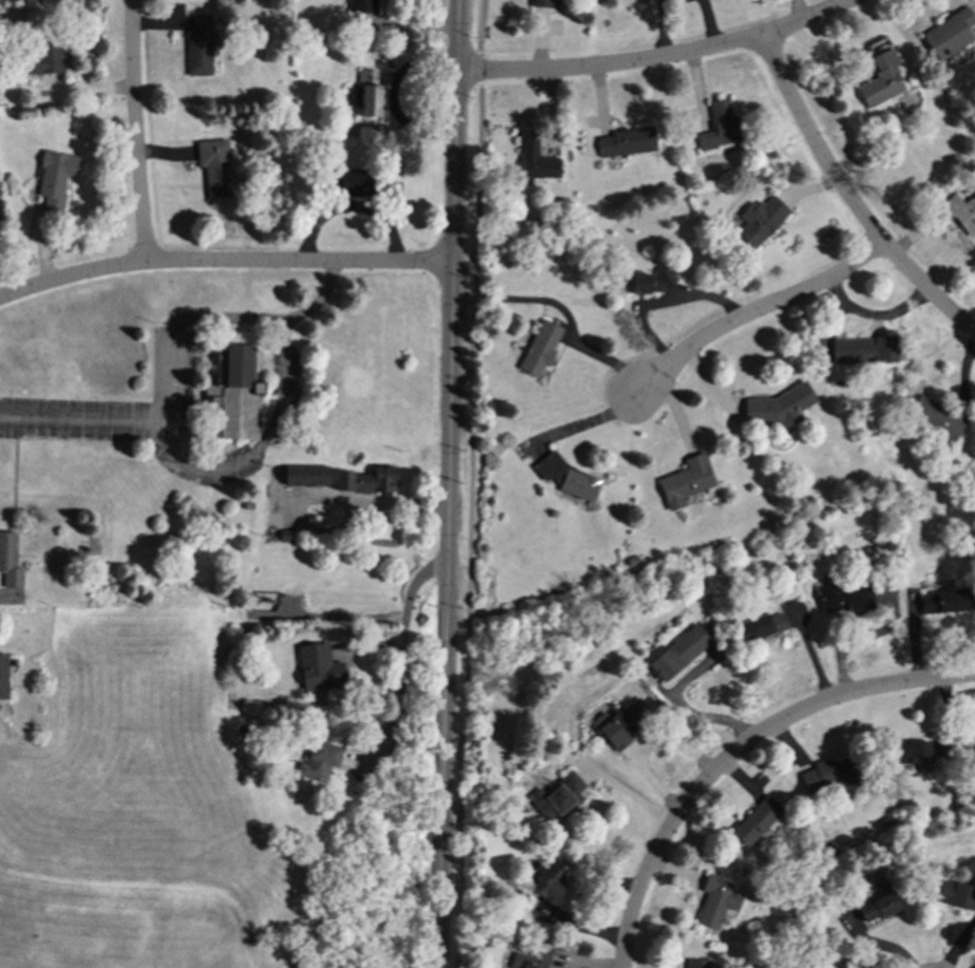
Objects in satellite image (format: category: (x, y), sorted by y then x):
building: (542, 3)
building: (363, 5)
road: (404, 24)
building: (949, 33)
building: (198, 46)
building: (46, 55)
road: (659, 58)
building: (881, 80)
building: (366, 93)
building: (720, 126)
road: (134, 131)
building: (626, 142)
building: (534, 160)
building: (214, 166)
building: (54, 178)
building: (354, 182)
road: (848, 199)
road: (351, 206)
building: (962, 212)
building: (760, 220)
road: (223, 262)
building: (648, 280)
road: (660, 301)
road: (563, 313)
road: (750, 313)
road: (873, 315)
building: (540, 347)
building: (863, 349)
road: (168, 359)
building: (235, 393)
building: (779, 407)
building: (935, 417)
road: (575, 425)
road: (259, 443)
building: (974, 470)
building: (306, 477)
building: (569, 477)
building: (686, 481)
road: (470, 483)
road: (448, 484)
road: (366, 499)
building: (9, 560)
building: (845, 595)
building: (945, 601)
building: (761, 627)
building: (679, 652)
road: (401, 661)
building: (318, 667)
building: (3, 676)
building: (621, 723)
road: (737, 750)
building: (916, 751)
building: (319, 761)
building: (829, 775)
road: (632, 794)
building: (558, 797)
building: (755, 820)
building: (548, 882)
building: (953, 894)
building: (715, 901)
building: (878, 903)
road: (877, 943)
building: (529, 960)
building: (696, 963)
building: (829, 966)

